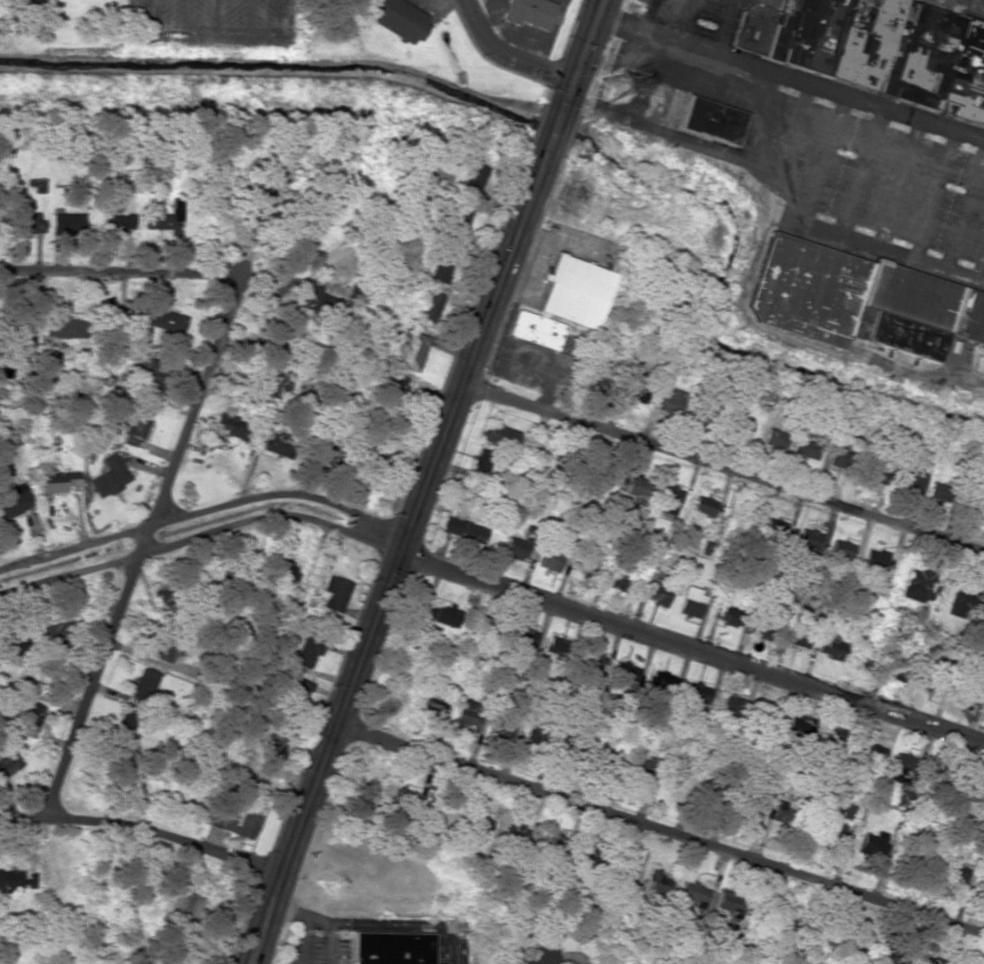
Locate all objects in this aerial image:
building: (530, 12)
building: (396, 18)
road: (588, 41)
building: (876, 47)
road: (506, 56)
power tower: (617, 85)
building: (708, 120)
building: (275, 171)
building: (472, 181)
building: (37, 186)
building: (455, 217)
building: (66, 222)
building: (116, 222)
building: (25, 223)
building: (442, 264)
road: (119, 274)
building: (804, 290)
building: (573, 292)
building: (923, 298)
building: (319, 299)
building: (427, 305)
building: (160, 319)
building: (61, 328)
building: (535, 330)
building: (410, 351)
building: (152, 381)
building: (275, 383)
building: (634, 387)
building: (671, 404)
building: (135, 424)
building: (230, 426)
building: (737, 426)
building: (499, 436)
building: (773, 439)
building: (276, 445)
building: (807, 446)
building: (836, 455)
building: (563, 463)
building: (480, 464)
road: (722, 468)
building: (880, 471)
building: (108, 477)
building: (56, 482)
building: (908, 484)
building: (636, 487)
building: (936, 491)
building: (14, 500)
building: (666, 500)
building: (702, 506)
road: (203, 512)
road: (406, 522)
building: (772, 527)
building: (462, 530)
road: (198, 535)
building: (807, 539)
road: (143, 549)
building: (515, 549)
building: (840, 549)
building: (549, 558)
building: (873, 559)
building: (584, 565)
building: (284, 571)
building: (620, 581)
building: (914, 585)
building: (658, 592)
building: (334, 593)
building: (690, 602)
building: (960, 602)
building: (724, 614)
building: (443, 616)
building: (762, 629)
building: (797, 638)
building: (557, 647)
road: (689, 648)
building: (832, 648)
building: (308, 649)
building: (590, 660)
building: (860, 666)
building: (626, 672)
building: (902, 673)
building: (931, 679)
building: (661, 682)
building: (144, 684)
building: (700, 694)
building: (965, 696)
building: (294, 697)
building: (732, 705)
building: (432, 708)
building: (465, 717)
building: (28, 718)
building: (801, 728)
building: (128, 729)
building: (831, 734)
building: (538, 739)
building: (277, 741)
building: (873, 752)
building: (607, 757)
building: (7, 764)
building: (903, 769)
building: (707, 799)
building: (402, 805)
building: (750, 805)
building: (785, 811)
building: (235, 823)
building: (476, 824)
road: (659, 825)
road: (141, 827)
building: (513, 843)
building: (874, 843)
building: (554, 849)
building: (588, 857)
building: (623, 864)
building: (953, 872)
building: (657, 880)
building: (11, 881)
building: (692, 895)
building: (730, 902)
road: (378, 923)
building: (862, 943)
building: (390, 948)
building: (531, 956)

